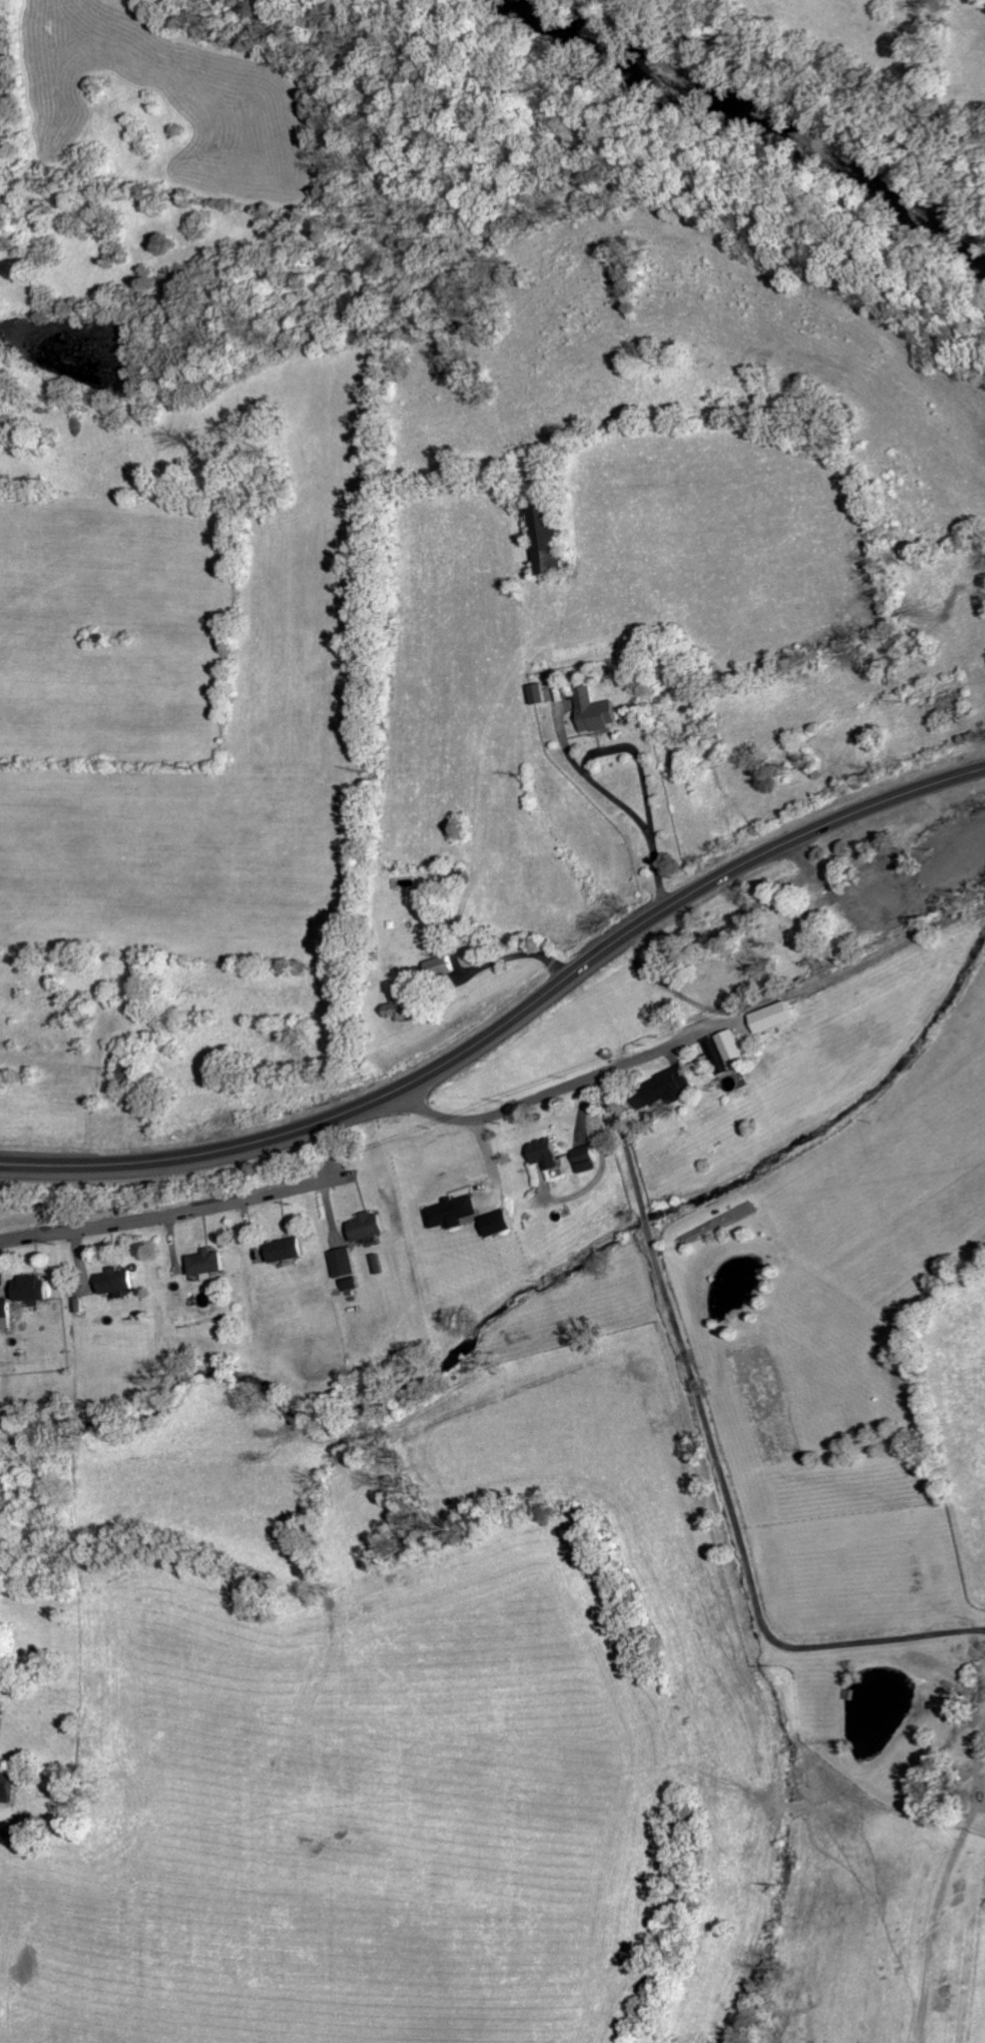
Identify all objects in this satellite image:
building: (546, 537)
building: (594, 711)
road: (635, 757)
road: (617, 801)
road: (501, 957)
building: (439, 967)
building: (400, 1004)
building: (773, 1017)
road: (509, 1021)
building: (731, 1046)
building: (660, 1090)
road: (538, 1098)
building: (544, 1154)
building: (584, 1159)
building: (450, 1212)
road: (175, 1213)
building: (497, 1223)
building: (366, 1227)
building: (285, 1250)
building: (206, 1263)
building: (341, 1263)
building: (115, 1281)
building: (30, 1289)
building: (4, 1314)
road: (758, 1614)
building: (6, 1785)

